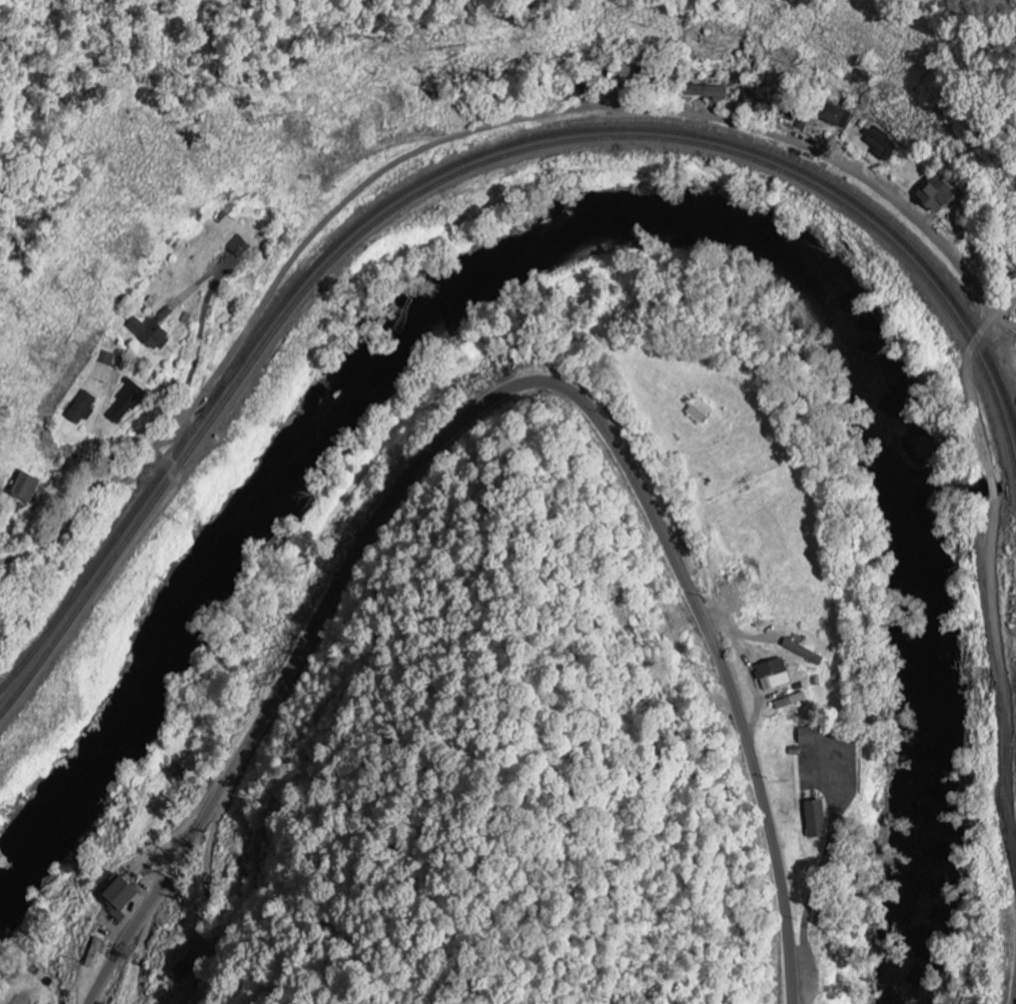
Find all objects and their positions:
building: (703, 92)
building: (832, 116)
road: (722, 119)
railway: (606, 120)
building: (879, 146)
railway: (452, 165)
building: (933, 196)
river: (626, 218)
building: (237, 248)
railway: (896, 248)
road: (996, 281)
road: (1001, 303)
building: (164, 316)
road: (1001, 317)
building: (147, 335)
railway: (269, 339)
road: (213, 376)
road: (499, 393)
building: (124, 402)
building: (79, 409)
building: (23, 489)
road: (992, 582)
building: (800, 653)
building: (771, 676)
building: (788, 702)
building: (804, 737)
building: (812, 820)
building: (113, 899)
building: (92, 955)
road: (1014, 998)

